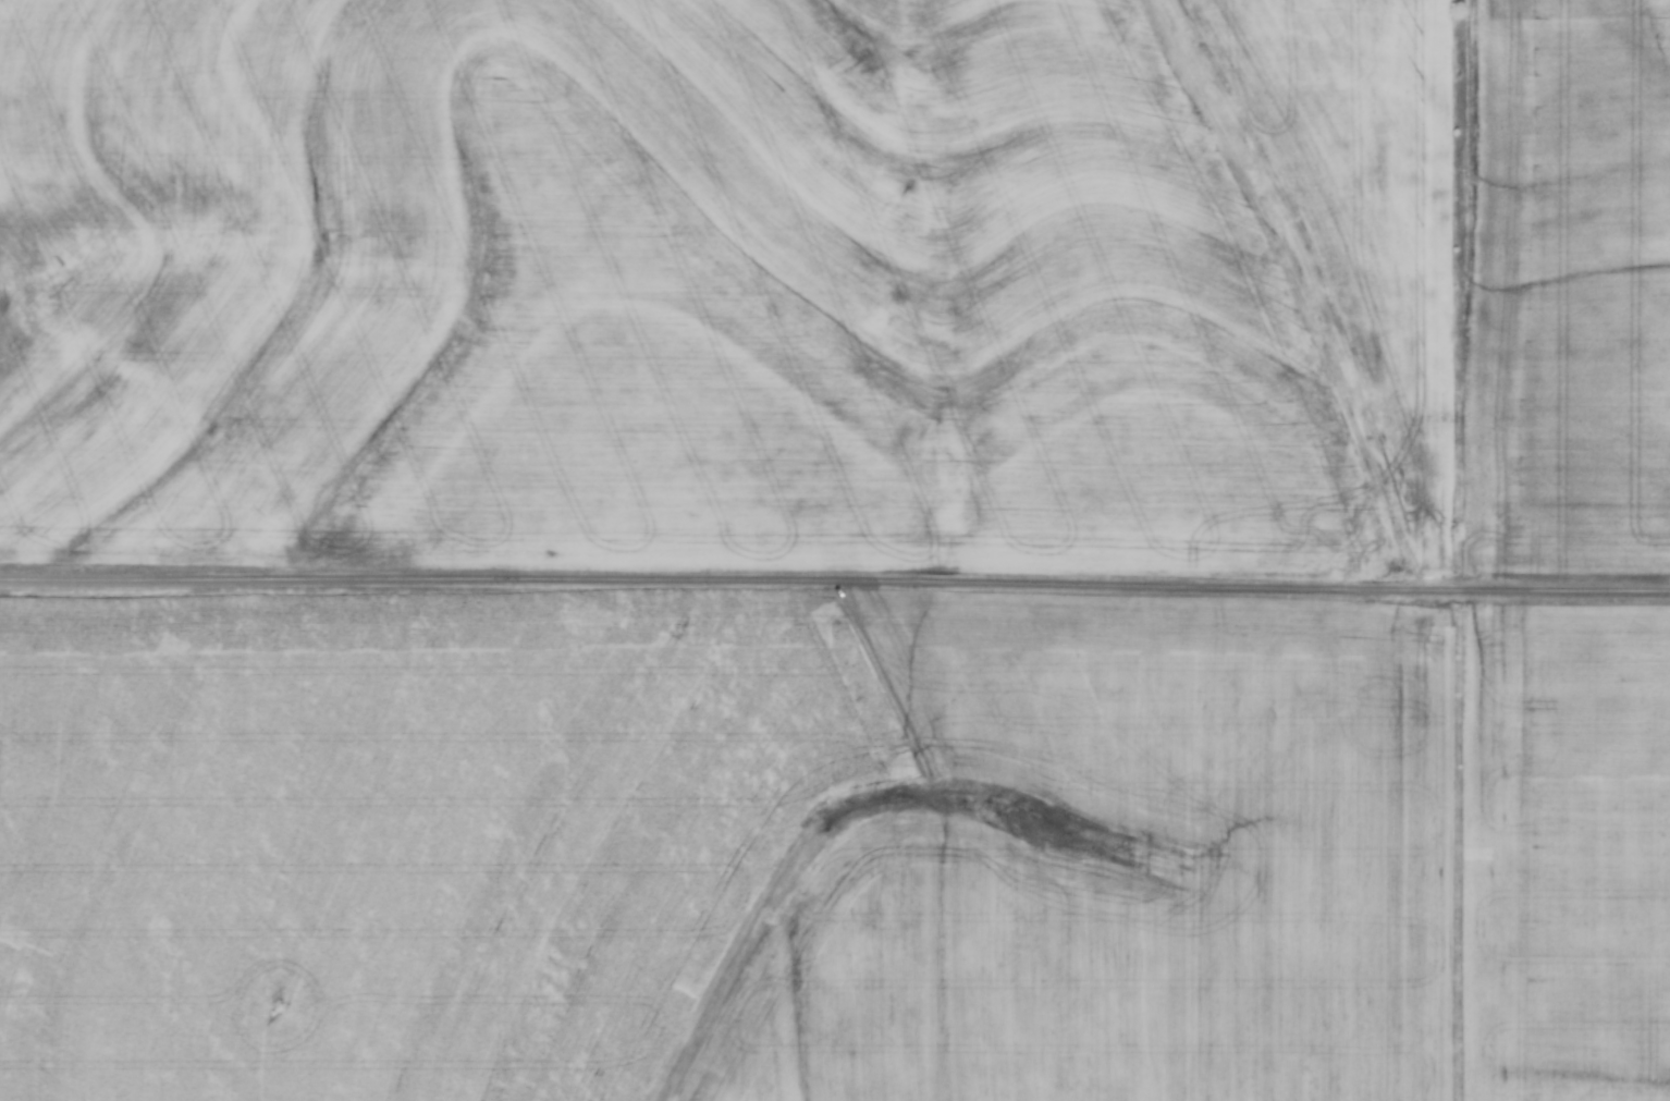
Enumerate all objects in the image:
road: (835, 580)
power tower: (277, 1004)

